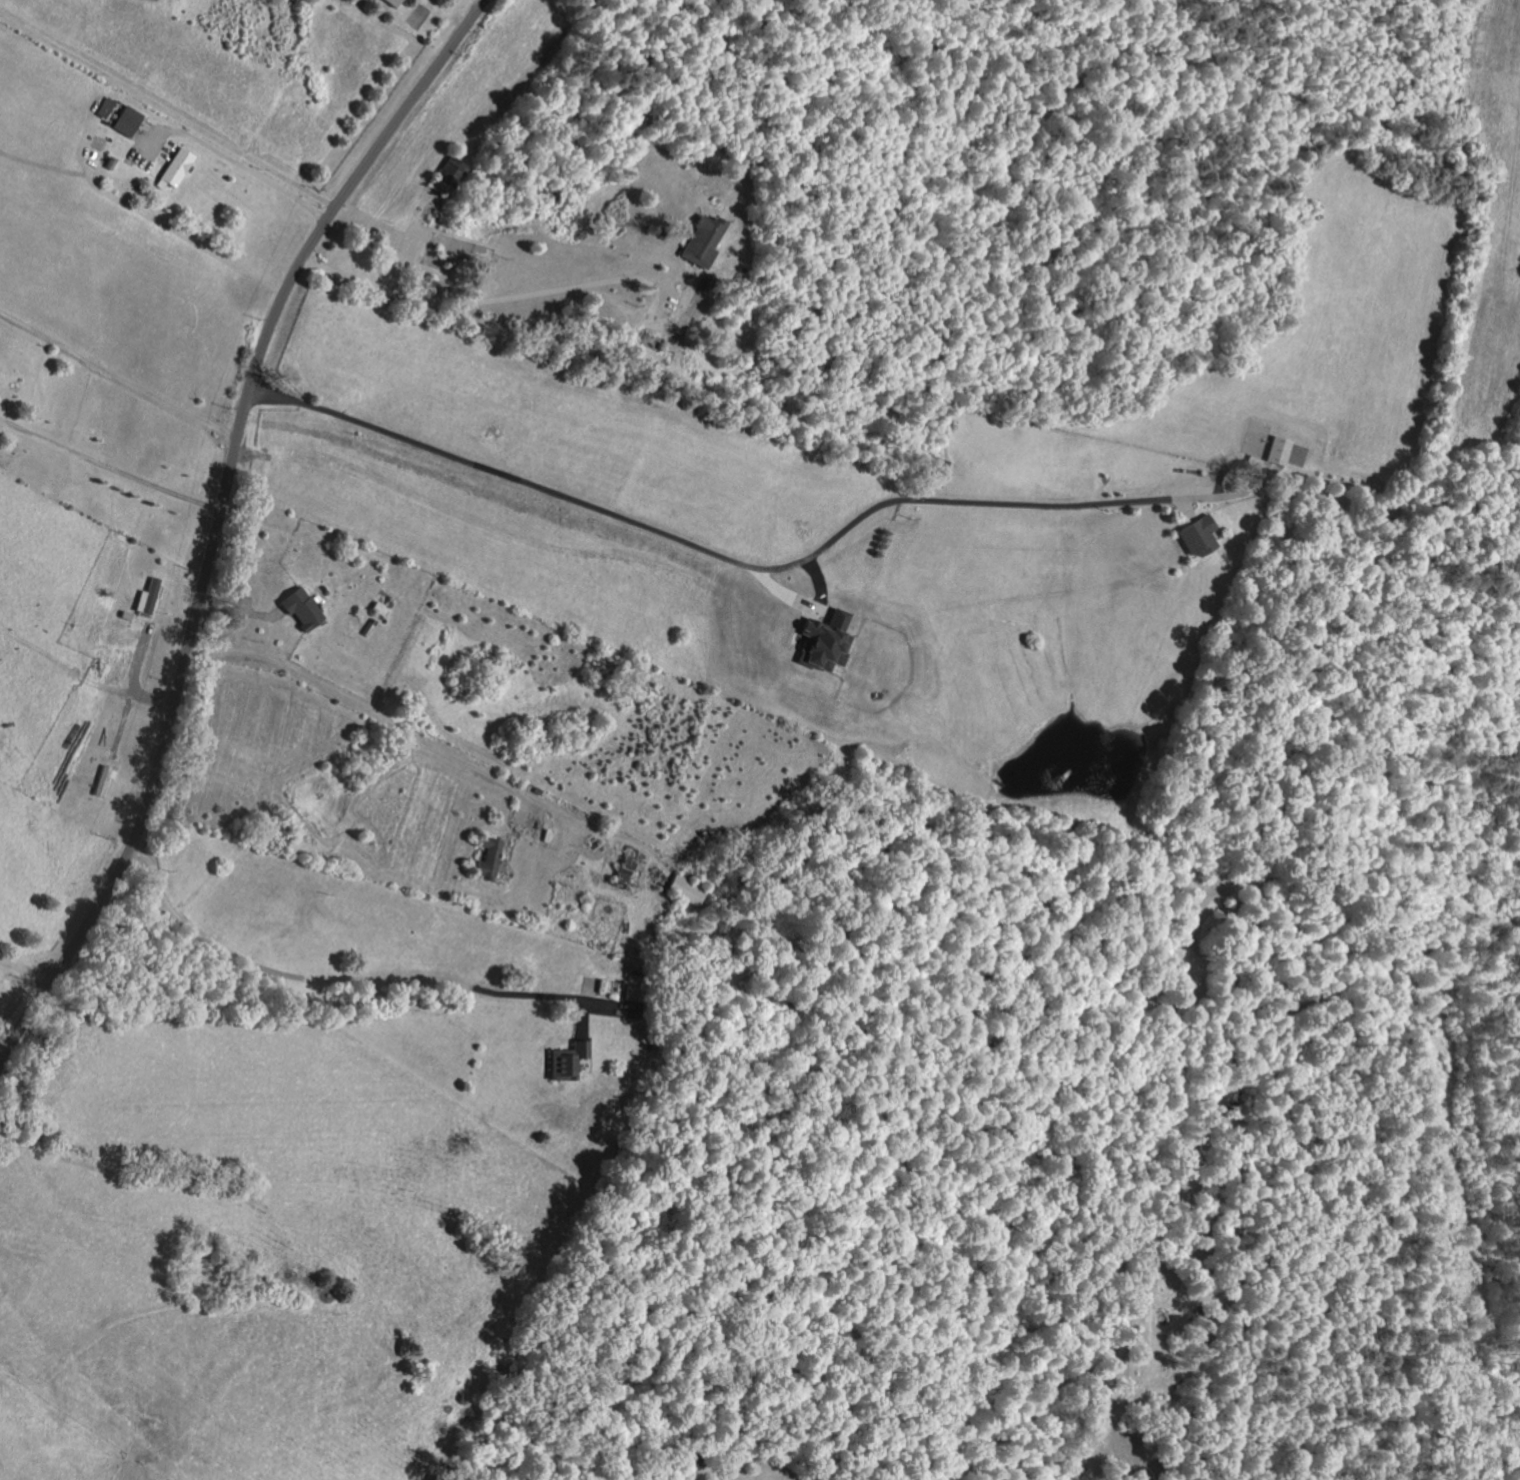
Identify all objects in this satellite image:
building: (391, 2)
road: (478, 2)
road: (317, 54)
building: (103, 108)
road: (167, 111)
building: (125, 121)
road: (237, 162)
building: (174, 168)
building: (700, 240)
road: (485, 303)
road: (124, 324)
road: (117, 375)
building: (1275, 451)
road: (109, 466)
road: (216, 522)
building: (1194, 537)
road: (708, 555)
building: (145, 597)
building: (299, 608)
building: (821, 640)
road: (87, 649)
road: (74, 756)
building: (99, 780)
road: (425, 784)
building: (485, 857)
building: (621, 869)
building: (685, 890)
road: (45, 897)
road: (21, 987)
road: (474, 1006)
building: (565, 1061)

